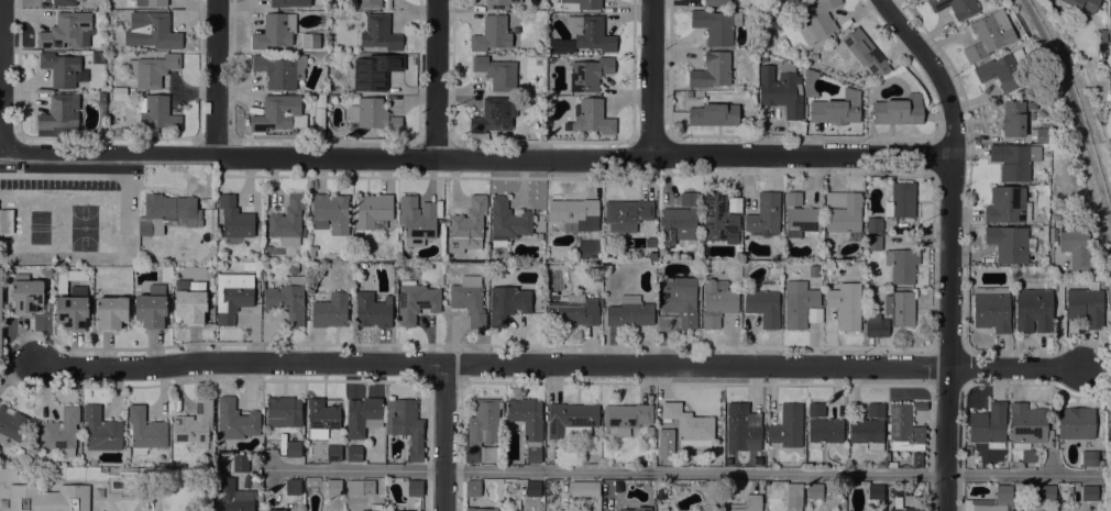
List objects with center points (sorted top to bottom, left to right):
building: (785, 1)
building: (790, 1)
building: (65, 2)
building: (151, 2)
building: (289, 2)
building: (717, 2)
building: (370, 3)
building: (499, 3)
building: (585, 3)
building: (1082, 3)
building: (1110, 3)
building: (956, 7)
building: (816, 20)
building: (716, 25)
building: (67, 31)
building: (152, 31)
building: (275, 31)
building: (380, 33)
building: (492, 33)
building: (590, 33)
building: (989, 34)
building: (821, 42)
building: (568, 48)
building: (865, 52)
building: (814, 55)
building: (98, 57)
building: (61, 68)
building: (152, 69)
building: (1003, 69)
building: (280, 70)
building: (712, 70)
road: (933, 70)
building: (375, 71)
building: (497, 73)
building: (588, 74)
road: (2, 76)
road: (653, 77)
road: (218, 78)
road: (438, 79)
building: (781, 89)
building: (119, 93)
building: (101, 97)
building: (320, 99)
building: (837, 109)
building: (899, 110)
building: (59, 112)
building: (156, 112)
building: (278, 114)
building: (374, 114)
building: (494, 114)
building: (714, 114)
building: (591, 118)
building: (1013, 119)
building: (320, 120)
road: (1071, 122)
building: (117, 131)
building: (125, 131)
building: (1044, 135)
road: (802, 156)
road: (328, 157)
building: (1014, 160)
road: (101, 176)
building: (901, 200)
building: (1008, 204)
building: (331, 210)
building: (373, 210)
building: (844, 211)
building: (167, 212)
building: (628, 212)
building: (574, 213)
building: (765, 213)
building: (800, 215)
building: (717, 216)
building: (1056, 216)
building: (234, 218)
building: (680, 219)
building: (287, 220)
building: (417, 220)
building: (7, 221)
building: (507, 222)
building: (446, 223)
building: (873, 224)
building: (469, 225)
building: (539, 236)
building: (1054, 237)
building: (356, 241)
building: (873, 242)
building: (1010, 243)
building: (1076, 246)
building: (902, 264)
road: (949, 264)
building: (252, 265)
building: (598, 273)
building: (26, 293)
building: (232, 295)
building: (286, 298)
building: (470, 299)
building: (680, 299)
building: (416, 301)
building: (717, 301)
building: (507, 303)
building: (763, 303)
building: (800, 303)
building: (846, 304)
building: (1086, 304)
building: (193, 306)
building: (152, 307)
building: (900, 307)
building: (73, 309)
building: (992, 309)
building: (0, 310)
building: (330, 310)
building: (373, 310)
building: (1033, 310)
building: (573, 311)
building: (630, 311)
building: (111, 312)
building: (814, 314)
building: (877, 325)
road: (493, 365)
road: (1015, 369)
building: (920, 404)
building: (283, 411)
building: (322, 414)
building: (362, 415)
building: (627, 416)
building: (235, 420)
building: (572, 420)
building: (12, 423)
building: (1076, 423)
building: (406, 424)
building: (528, 424)
building: (744, 424)
building: (195, 425)
building: (689, 425)
building: (788, 425)
building: (989, 425)
building: (1027, 425)
building: (482, 426)
building: (823, 426)
building: (869, 427)
building: (904, 429)
building: (101, 430)
building: (650, 430)
building: (145, 431)
building: (62, 432)
road: (443, 437)
road: (946, 440)
building: (591, 447)
building: (294, 448)
building: (968, 449)
building: (333, 452)
building: (354, 453)
building: (488, 453)
building: (1027, 455)
building: (661, 457)
building: (916, 458)
building: (1089, 458)
building: (728, 460)
building: (757, 460)
building: (241, 464)
road: (684, 471)
building: (251, 481)
building: (293, 487)
building: (333, 487)
building: (361, 487)
building: (415, 487)
building: (473, 488)
building: (532, 488)
building: (584, 488)
building: (814, 490)
road: (426, 491)
road: (459, 491)
building: (876, 492)
road: (927, 492)
road: (960, 492)
building: (1003, 492)
building: (1046, 492)
building: (1089, 492)
building: (234, 496)
building: (793, 497)
building: (48, 498)
building: (898, 502)
building: (746, 504)
building: (371, 507)
building: (988, 508)
building: (480, 509)
building: (636, 509)
building: (276, 510)
building: (403, 510)
building: (414, 510)
building: (570, 510)

